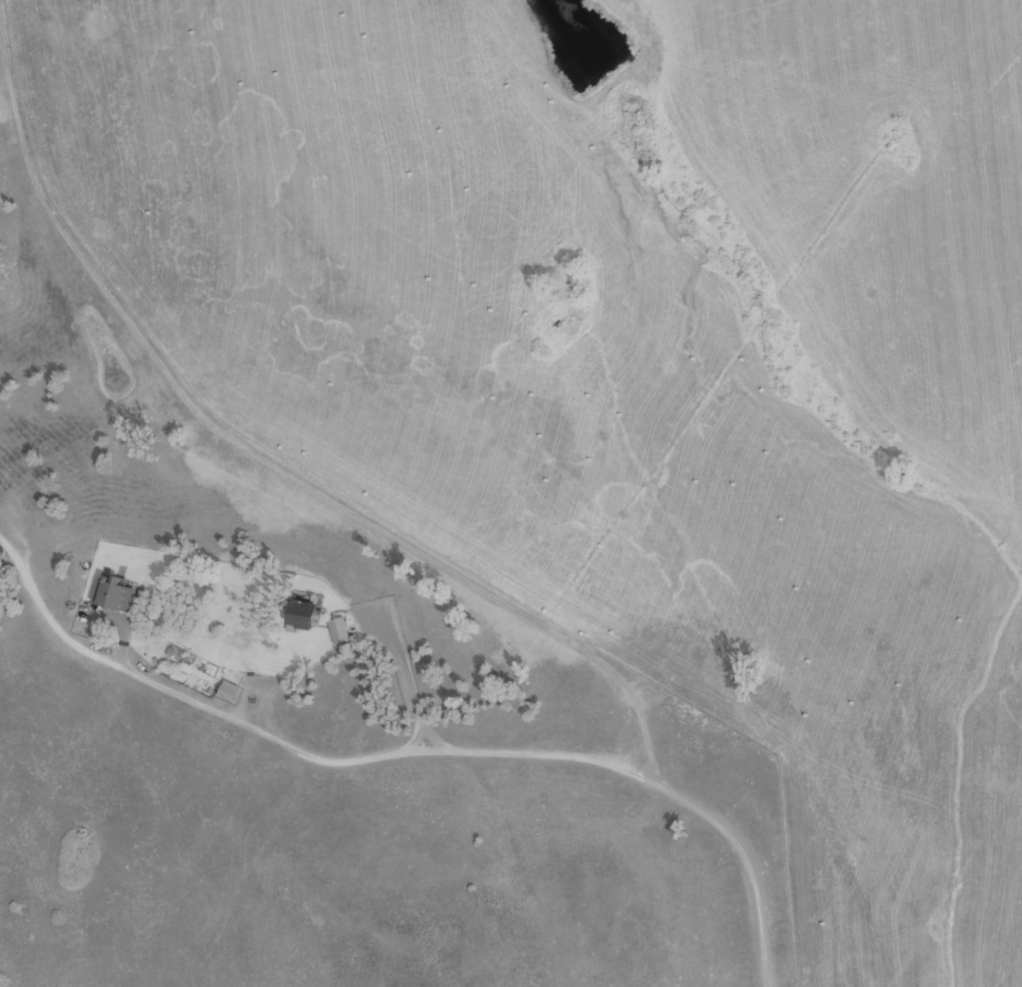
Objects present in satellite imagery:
building: (296, 613)
building: (334, 628)
road: (318, 723)

